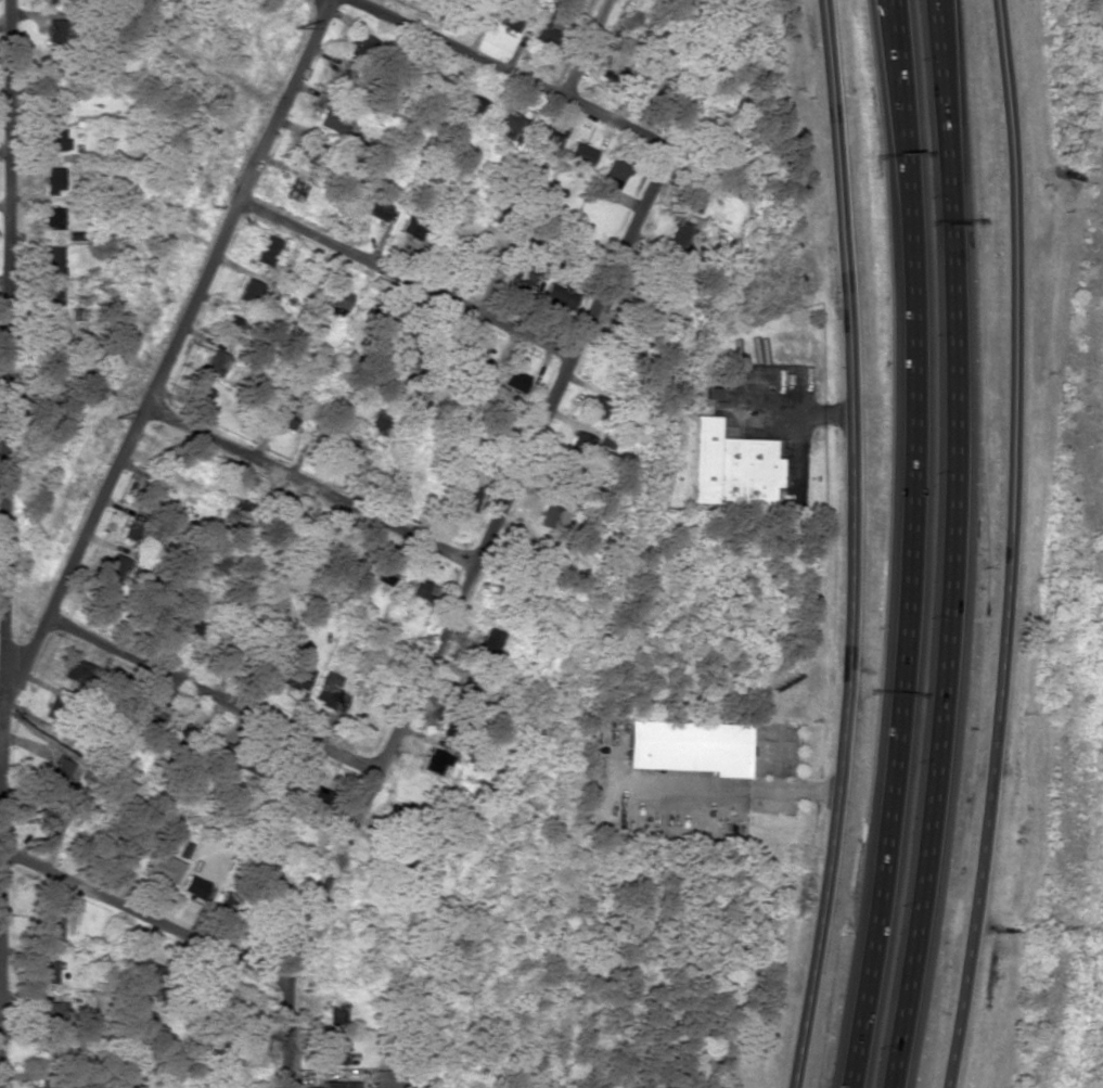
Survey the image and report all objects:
building: (54, 1)
building: (469, 3)
building: (509, 20)
building: (55, 31)
building: (368, 47)
road: (585, 48)
building: (54, 71)
road: (509, 72)
building: (53, 101)
building: (463, 108)
building: (333, 120)
building: (522, 135)
building: (55, 140)
building: (579, 153)
building: (313, 154)
building: (53, 179)
building: (610, 179)
building: (692, 201)
building: (377, 209)
building: (52, 218)
building: (411, 230)
building: (677, 236)
building: (267, 251)
building: (52, 260)
building: (483, 261)
road: (405, 278)
building: (254, 294)
building: (559, 296)
building: (52, 297)
building: (336, 302)
building: (233, 329)
building: (627, 345)
road: (169, 354)
building: (214, 362)
building: (478, 364)
building: (514, 381)
building: (713, 394)
building: (200, 396)
building: (597, 408)
building: (283, 418)
building: (382, 420)
power tower: (113, 421)
building: (579, 444)
building: (354, 450)
building: (159, 461)
building: (730, 466)
road: (307, 487)
building: (155, 494)
building: (465, 496)
road: (3, 513)
building: (235, 515)
building: (556, 515)
building: (136, 526)
road: (849, 545)
road: (1005, 545)
road: (915, 546)
road: (954, 546)
building: (115, 565)
building: (382, 573)
building: (422, 590)
building: (108, 599)
road: (450, 610)
building: (488, 643)
building: (76, 671)
building: (300, 678)
building: (328, 691)
building: (467, 691)
building: (61, 693)
road: (214, 694)
road: (1, 706)
building: (149, 718)
building: (687, 746)
building: (59, 770)
building: (320, 797)
building: (50, 821)
building: (164, 869)
building: (193, 886)
road: (144, 920)
building: (51, 926)
building: (47, 972)
building: (51, 1013)
building: (335, 1013)
building: (47, 1053)
building: (334, 1053)
building: (385, 1078)

